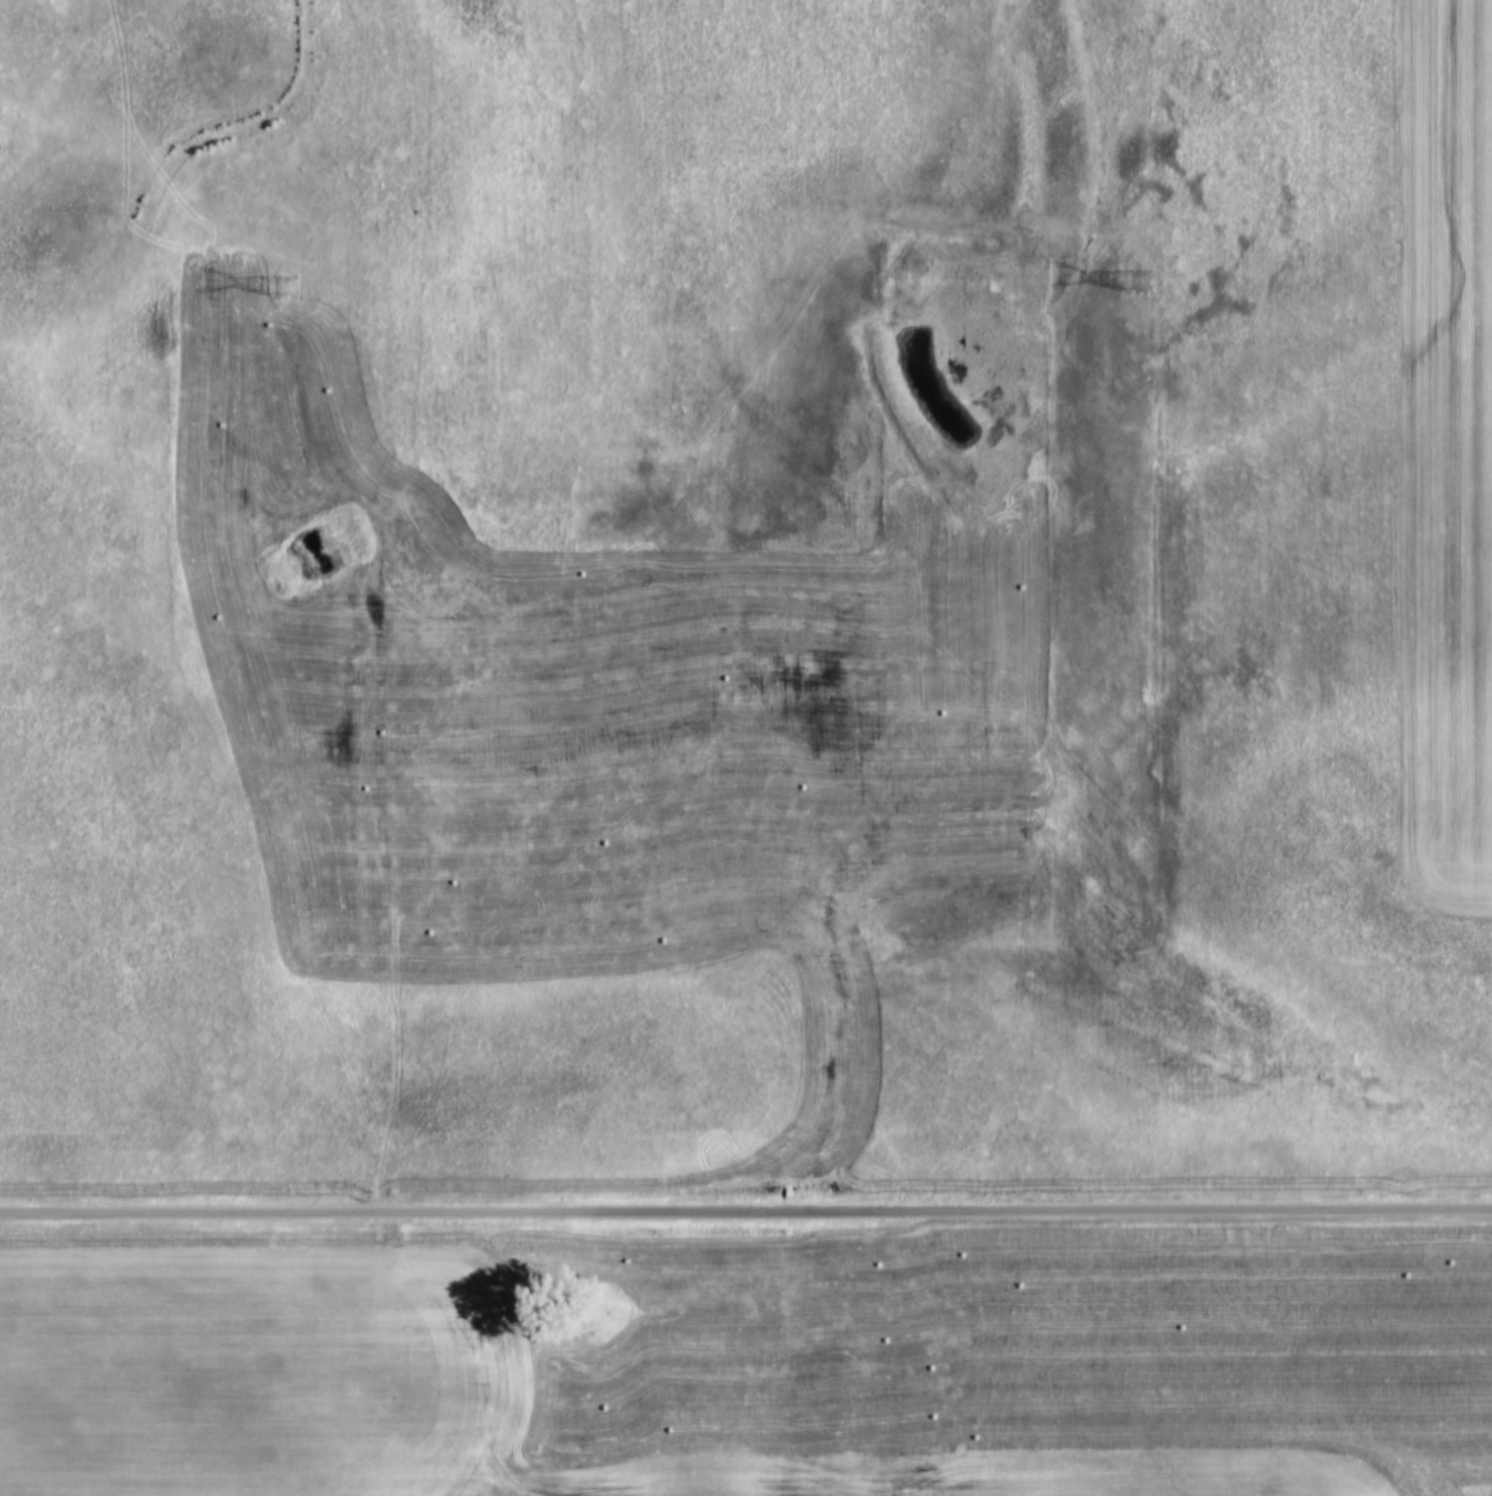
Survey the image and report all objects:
power tower: (1139, 291)
power tower: (290, 296)
road: (746, 1214)

